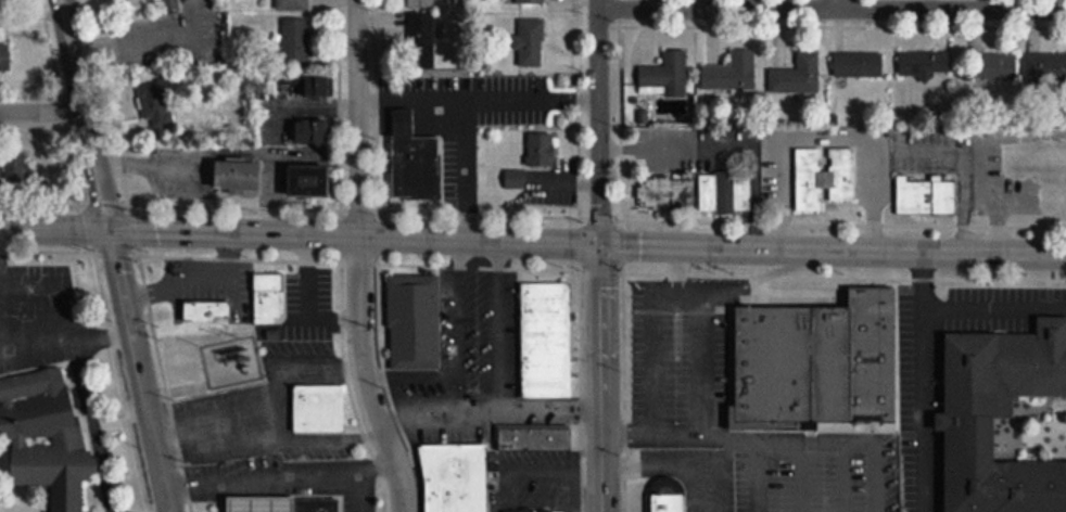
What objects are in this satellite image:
building: (531, 1)
building: (420, 3)
building: (174, 4)
building: (293, 4)
road: (834, 4)
road: (830, 8)
building: (420, 38)
building: (297, 40)
building: (528, 50)
building: (5, 56)
building: (926, 63)
building: (859, 65)
building: (995, 65)
building: (1045, 67)
building: (732, 74)
building: (665, 75)
building: (798, 75)
building: (320, 86)
building: (156, 104)
road: (41, 112)
road: (597, 121)
building: (314, 130)
building: (541, 148)
building: (415, 159)
building: (13, 172)
building: (239, 174)
building: (516, 178)
building: (310, 179)
building: (822, 180)
building: (667, 191)
building: (725, 192)
building: (926, 194)
road: (532, 240)
road: (114, 255)
road: (357, 258)
building: (269, 298)
road: (990, 300)
building: (207, 311)
building: (415, 321)
building: (547, 340)
building: (816, 358)
road: (598, 377)
road: (916, 380)
building: (980, 405)
building: (319, 408)
building: (46, 435)
building: (536, 437)
road: (279, 473)
building: (456, 477)
road: (356, 491)
building: (357, 494)
road: (217, 498)
building: (669, 501)
building: (270, 502)
building: (316, 507)
building: (515, 511)

